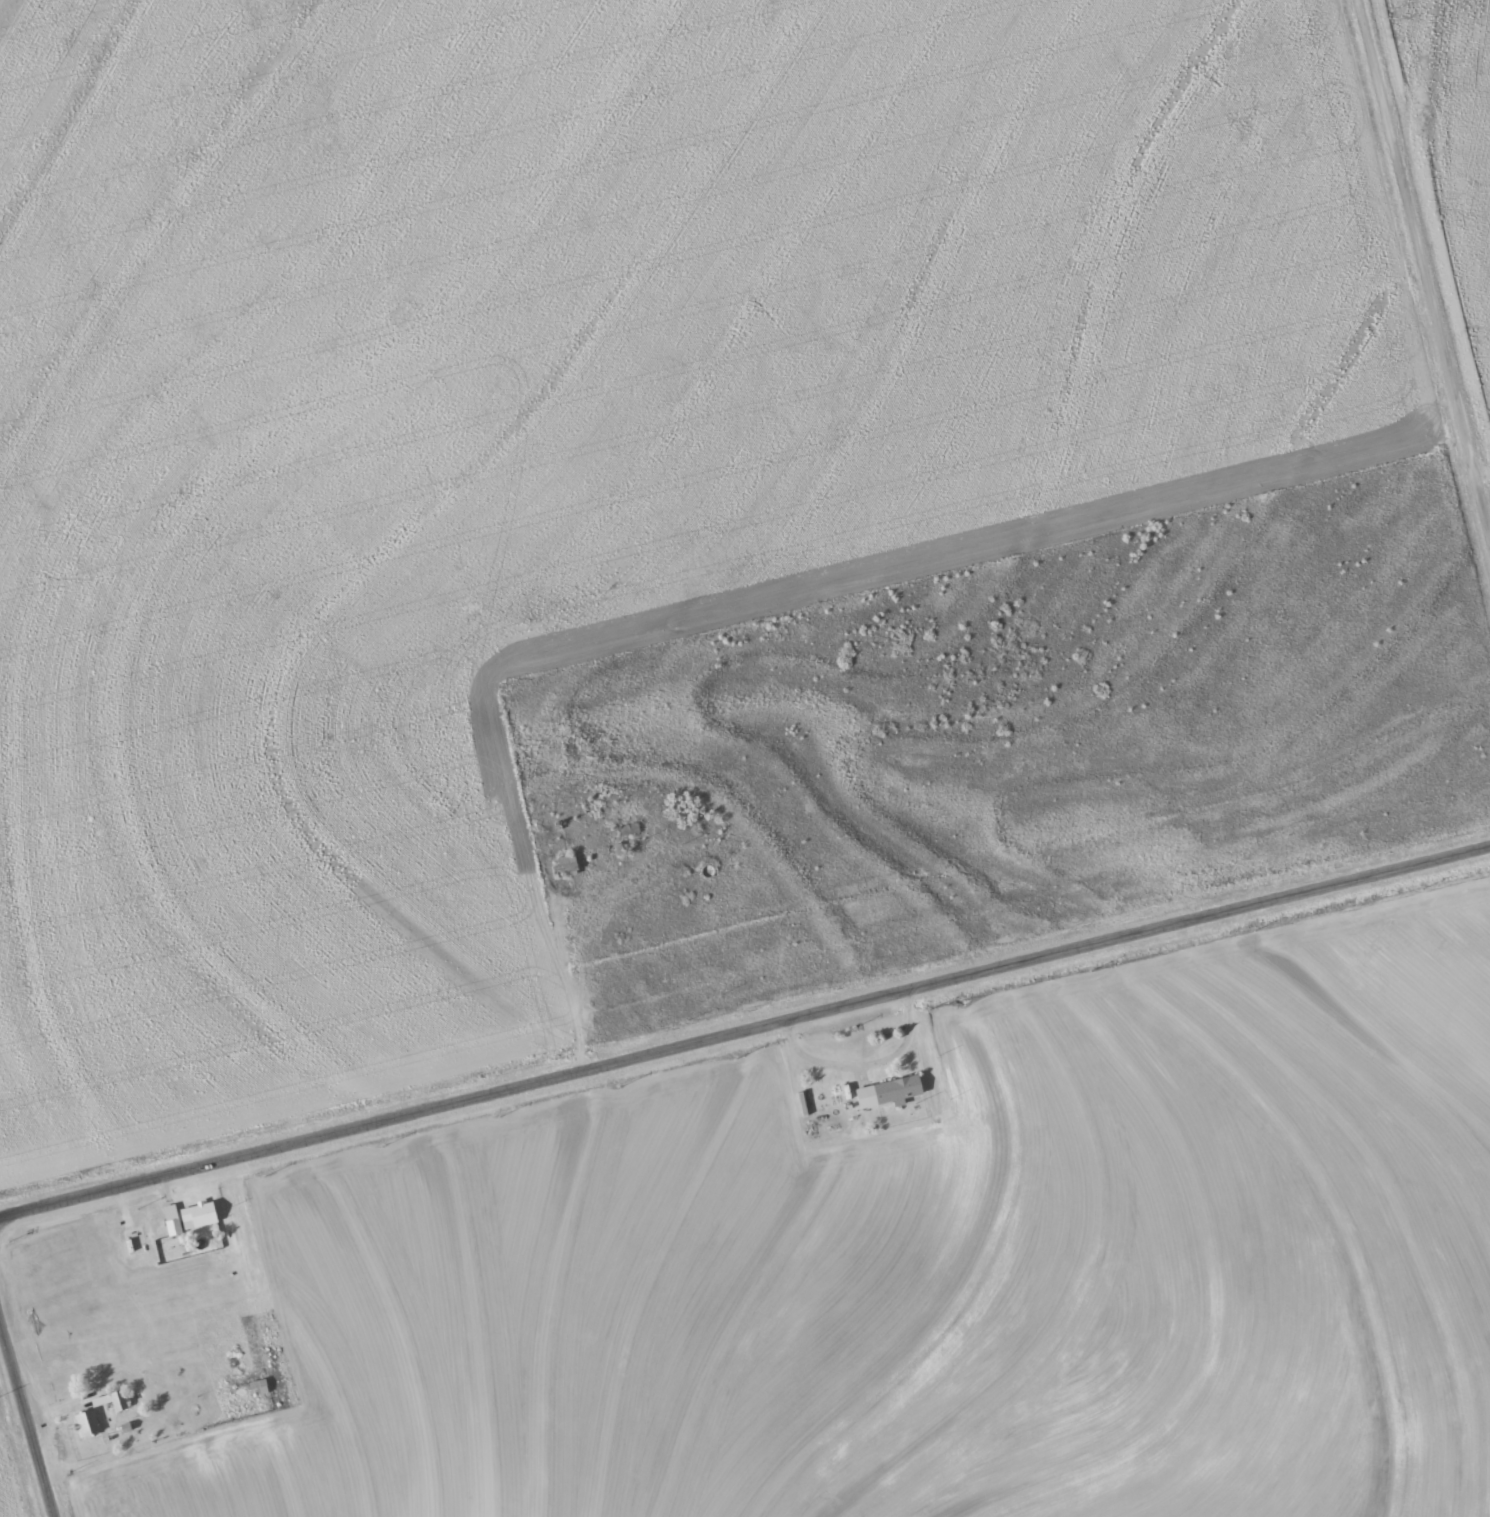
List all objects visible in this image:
road: (1425, 268)
road: (745, 1030)
building: (187, 1217)
road: (29, 1408)
building: (87, 1423)

